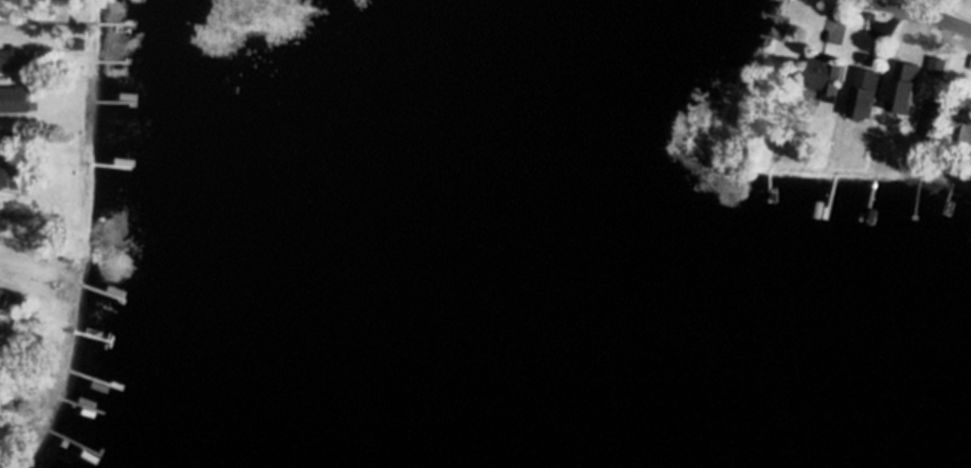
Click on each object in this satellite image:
road: (938, 17)
building: (916, 52)
building: (938, 54)
building: (20, 59)
building: (969, 66)
building: (823, 74)
building: (30, 88)
building: (864, 93)
building: (900, 108)
building: (963, 128)
building: (12, 173)
building: (4, 297)
building: (0, 414)

